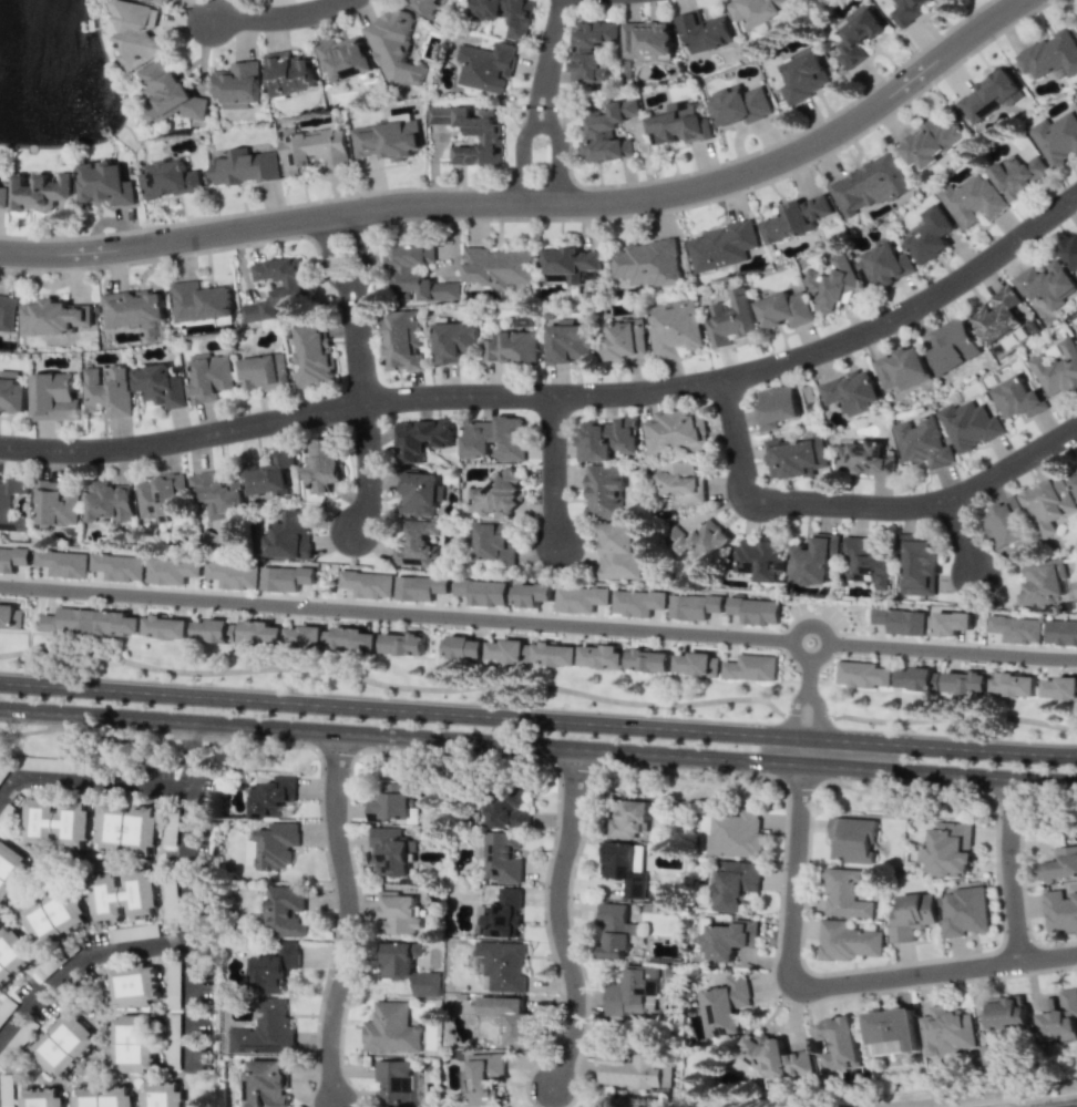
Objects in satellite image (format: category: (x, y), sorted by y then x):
building: (162, 2)
building: (427, 6)
building: (756, 9)
building: (906, 10)
road: (279, 14)
building: (505, 14)
building: (136, 32)
building: (706, 32)
building: (858, 34)
building: (647, 40)
building: (394, 47)
building: (591, 49)
road: (552, 50)
building: (1049, 54)
building: (343, 58)
building: (485, 66)
building: (288, 73)
building: (803, 76)
building: (237, 84)
building: (168, 94)
building: (989, 95)
building: (740, 105)
building: (680, 124)
building: (471, 133)
building: (609, 133)
building: (388, 137)
building: (1056, 137)
building: (929, 143)
building: (315, 150)
road: (543, 153)
building: (245, 167)
building: (1018, 175)
building: (170, 180)
building: (105, 183)
building: (868, 185)
building: (40, 191)
building: (3, 196)
building: (973, 201)
road: (537, 205)
building: (794, 219)
building: (930, 235)
building: (721, 246)
building: (1070, 253)
building: (647, 263)
building: (568, 264)
building: (883, 264)
building: (496, 267)
building: (419, 273)
building: (833, 281)
building: (1047, 285)
building: (276, 289)
building: (199, 301)
building: (131, 308)
building: (784, 309)
building: (7, 312)
building: (998, 315)
building: (730, 318)
building: (674, 327)
building: (626, 339)
building: (570, 340)
building: (401, 341)
building: (454, 341)
building: (953, 345)
building: (512, 347)
building: (312, 355)
building: (902, 369)
building: (1057, 369)
building: (265, 371)
road: (366, 373)
building: (160, 385)
building: (107, 391)
building: (852, 391)
building: (12, 392)
road: (561, 394)
building: (54, 397)
building: (1017, 398)
building: (776, 406)
building: (970, 424)
building: (679, 430)
building: (421, 439)
building: (494, 439)
building: (607, 439)
building: (922, 442)
building: (794, 457)
building: (863, 458)
building: (322, 465)
road: (553, 470)
building: (269, 475)
building: (1073, 479)
building: (680, 482)
building: (604, 491)
building: (419, 493)
building: (217, 494)
building: (160, 495)
building: (495, 496)
building: (110, 502)
building: (4, 504)
building: (57, 504)
building: (1048, 504)
road: (862, 505)
building: (1004, 523)
building: (289, 535)
road: (965, 535)
building: (698, 536)
building: (493, 542)
building: (414, 544)
building: (620, 550)
building: (13, 557)
building: (759, 558)
building: (813, 560)
building: (63, 563)
building: (863, 563)
building: (919, 565)
building: (119, 566)
building: (172, 571)
building: (234, 574)
building: (286, 577)
building: (368, 583)
building: (1043, 583)
building: (420, 587)
building: (482, 591)
building: (533, 594)
building: (581, 598)
building: (637, 602)
building: (695, 606)
building: (753, 609)
building: (10, 616)
building: (69, 621)
road: (538, 621)
building: (901, 621)
building: (117, 622)
building: (950, 623)
building: (165, 626)
building: (1016, 628)
building: (214, 629)
building: (259, 632)
building: (1060, 632)
building: (305, 636)
building: (353, 638)
building: (403, 643)
building: (461, 647)
building: (509, 650)
building: (554, 654)
building: (602, 656)
building: (647, 659)
building: (696, 664)
building: (750, 667)
building: (862, 674)
building: (915, 678)
building: (965, 683)
building: (1013, 685)
road: (538, 687)
building: (1059, 688)
road: (807, 703)
road: (537, 718)
road: (187, 741)
road: (537, 746)
road: (91, 780)
building: (271, 796)
building: (390, 803)
building: (507, 810)
building: (628, 819)
building: (57, 823)
building: (127, 828)
building: (736, 834)
building: (852, 839)
building: (277, 844)
building: (950, 847)
building: (501, 858)
building: (8, 863)
building: (1060, 864)
building: (626, 868)
road: (1008, 869)
building: (735, 884)
building: (845, 894)
building: (122, 896)
building: (285, 911)
building: (964, 911)
building: (1060, 911)
building: (397, 913)
road: (188, 915)
building: (500, 915)
building: (912, 915)
building: (54, 916)
road: (349, 916)
road: (563, 921)
building: (615, 930)
building: (728, 939)
building: (849, 941)
building: (12, 953)
building: (397, 959)
road: (80, 961)
building: (503, 964)
building: (275, 965)
building: (425, 984)
road: (824, 985)
building: (133, 986)
building: (629, 992)
building: (726, 1005)
building: (1005, 1012)
building: (1057, 1018)
building: (510, 1019)
building: (389, 1028)
building: (892, 1032)
building: (945, 1032)
building: (261, 1038)
building: (63, 1044)
building: (837, 1044)
building: (131, 1045)
building: (987, 1054)
building: (773, 1056)
building: (630, 1070)
building: (483, 1077)
building: (265, 1083)
building: (397, 1083)
building: (160, 1095)
building: (40, 1097)
building: (101, 1097)
road: (1060, 1104)

